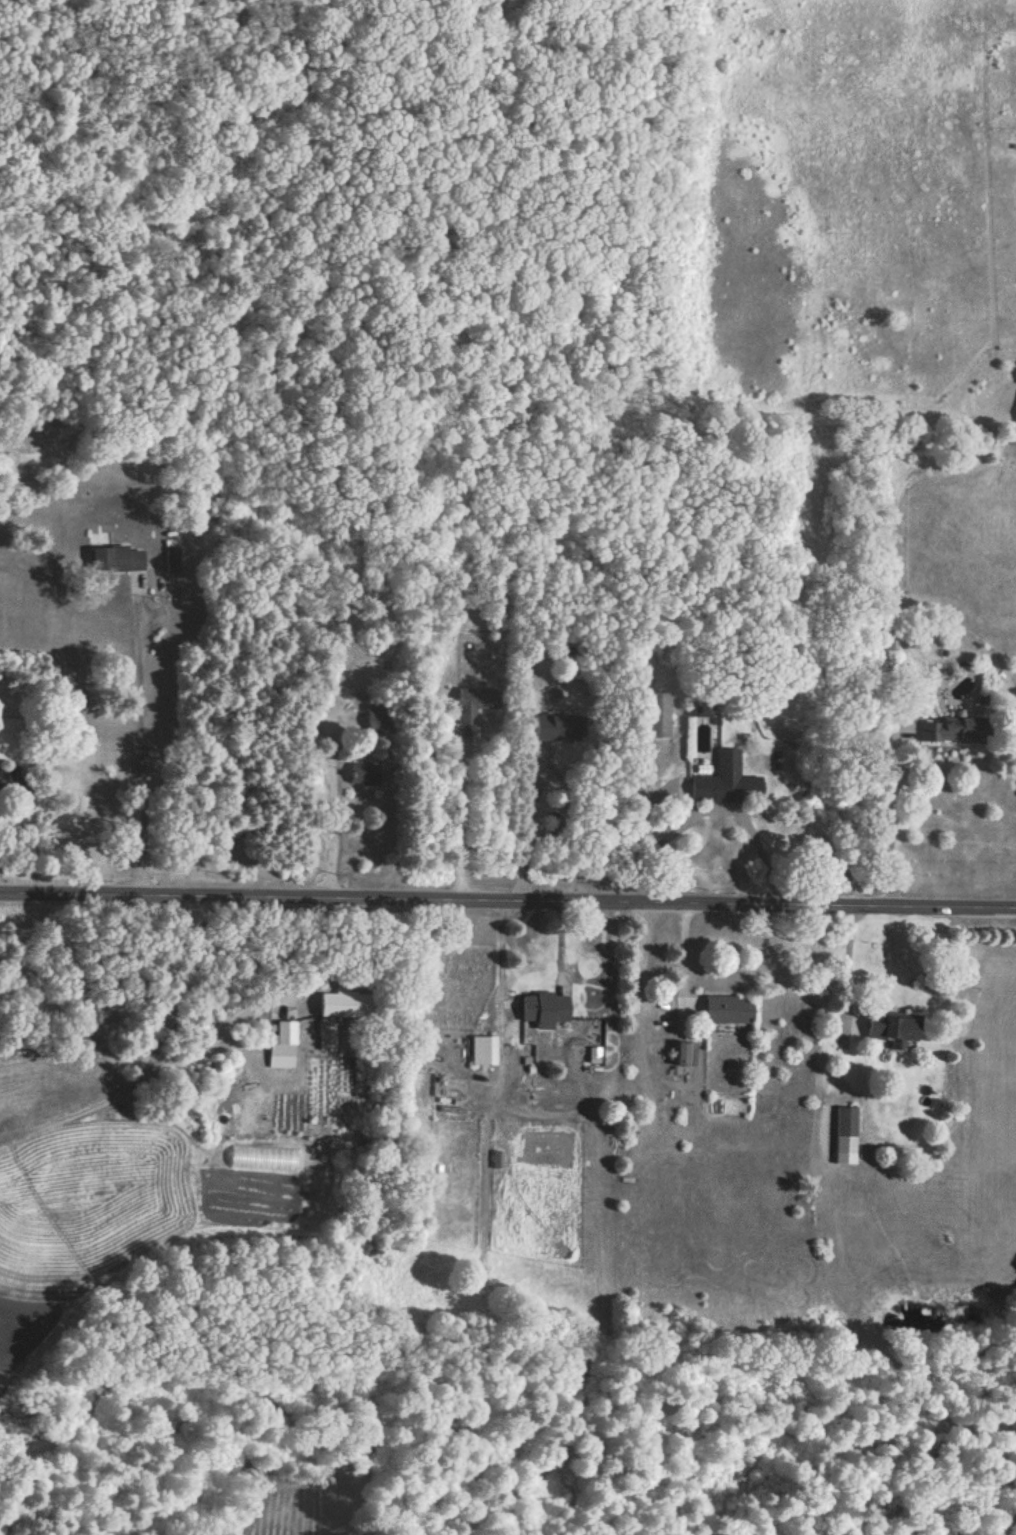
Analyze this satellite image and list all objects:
building: (117, 561)
building: (476, 707)
building: (658, 718)
building: (379, 727)
building: (557, 729)
building: (954, 732)
road: (145, 740)
building: (367, 776)
building: (726, 784)
building: (1, 785)
road: (708, 805)
road: (332, 812)
road: (888, 818)
road: (460, 822)
road: (527, 823)
road: (507, 907)
road: (500, 964)
road: (682, 968)
road: (852, 970)
building: (345, 1007)
building: (546, 1012)
building: (729, 1012)
building: (892, 1029)
building: (284, 1033)
building: (483, 1053)
building: (685, 1056)
building: (846, 1125)

